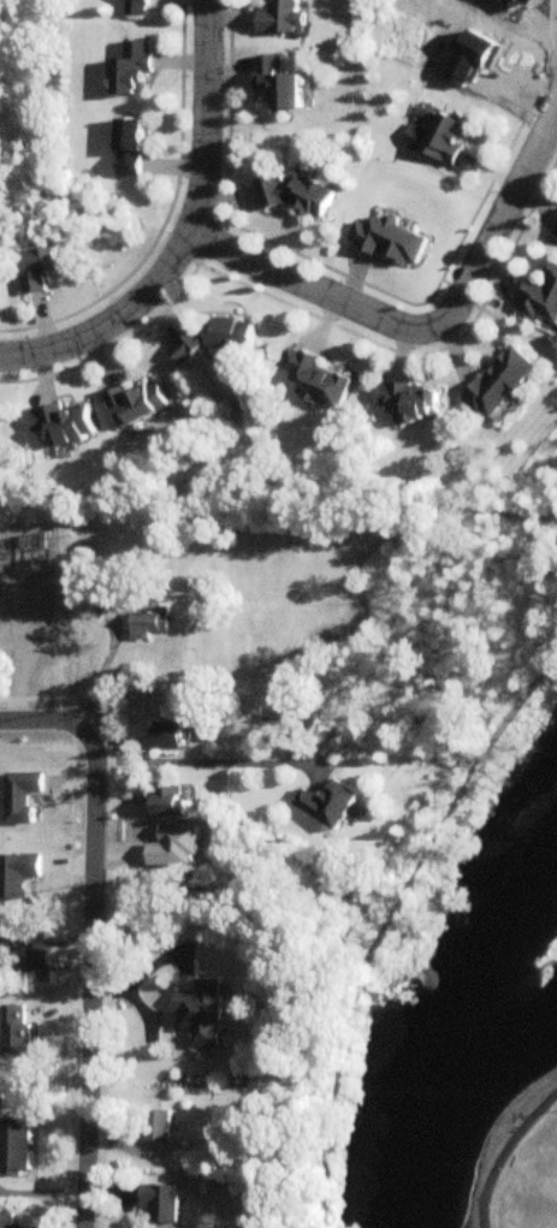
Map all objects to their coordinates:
building: (136, 8)
building: (282, 19)
building: (131, 71)
building: (280, 87)
building: (446, 140)
building: (129, 150)
building: (300, 197)
road: (191, 236)
building: (556, 238)
building: (37, 271)
building: (541, 302)
road: (427, 324)
road: (508, 325)
building: (220, 338)
building: (318, 380)
building: (503, 384)
building: (411, 403)
building: (137, 405)
building: (150, 624)
road: (45, 723)
building: (167, 735)
road: (195, 755)
building: (24, 778)
building: (5, 800)
building: (167, 801)
building: (330, 805)
building: (40, 852)
road: (393, 908)
building: (36, 966)
road: (88, 981)
river: (526, 987)
building: (201, 1015)
building: (34, 1020)
river: (460, 1038)
building: (156, 1126)
building: (14, 1150)
road: (504, 1153)
park: (520, 1167)
building: (161, 1204)
building: (7, 1221)

